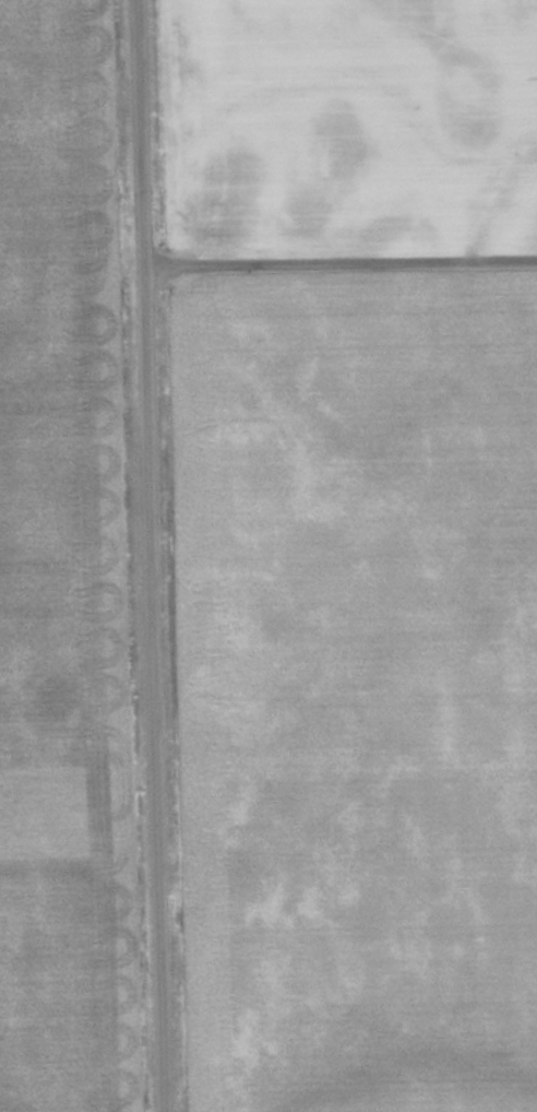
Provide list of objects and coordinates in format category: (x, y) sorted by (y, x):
road: (339, 250)
road: (150, 556)

